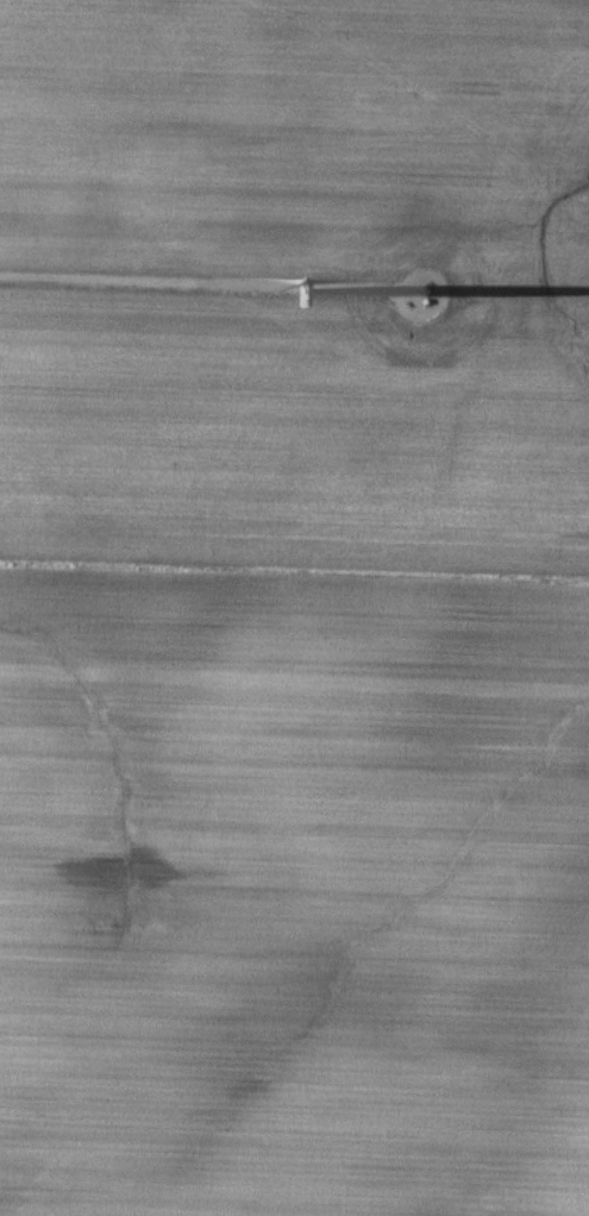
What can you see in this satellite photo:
road: (200, 290)
wind turbine: (422, 293)

